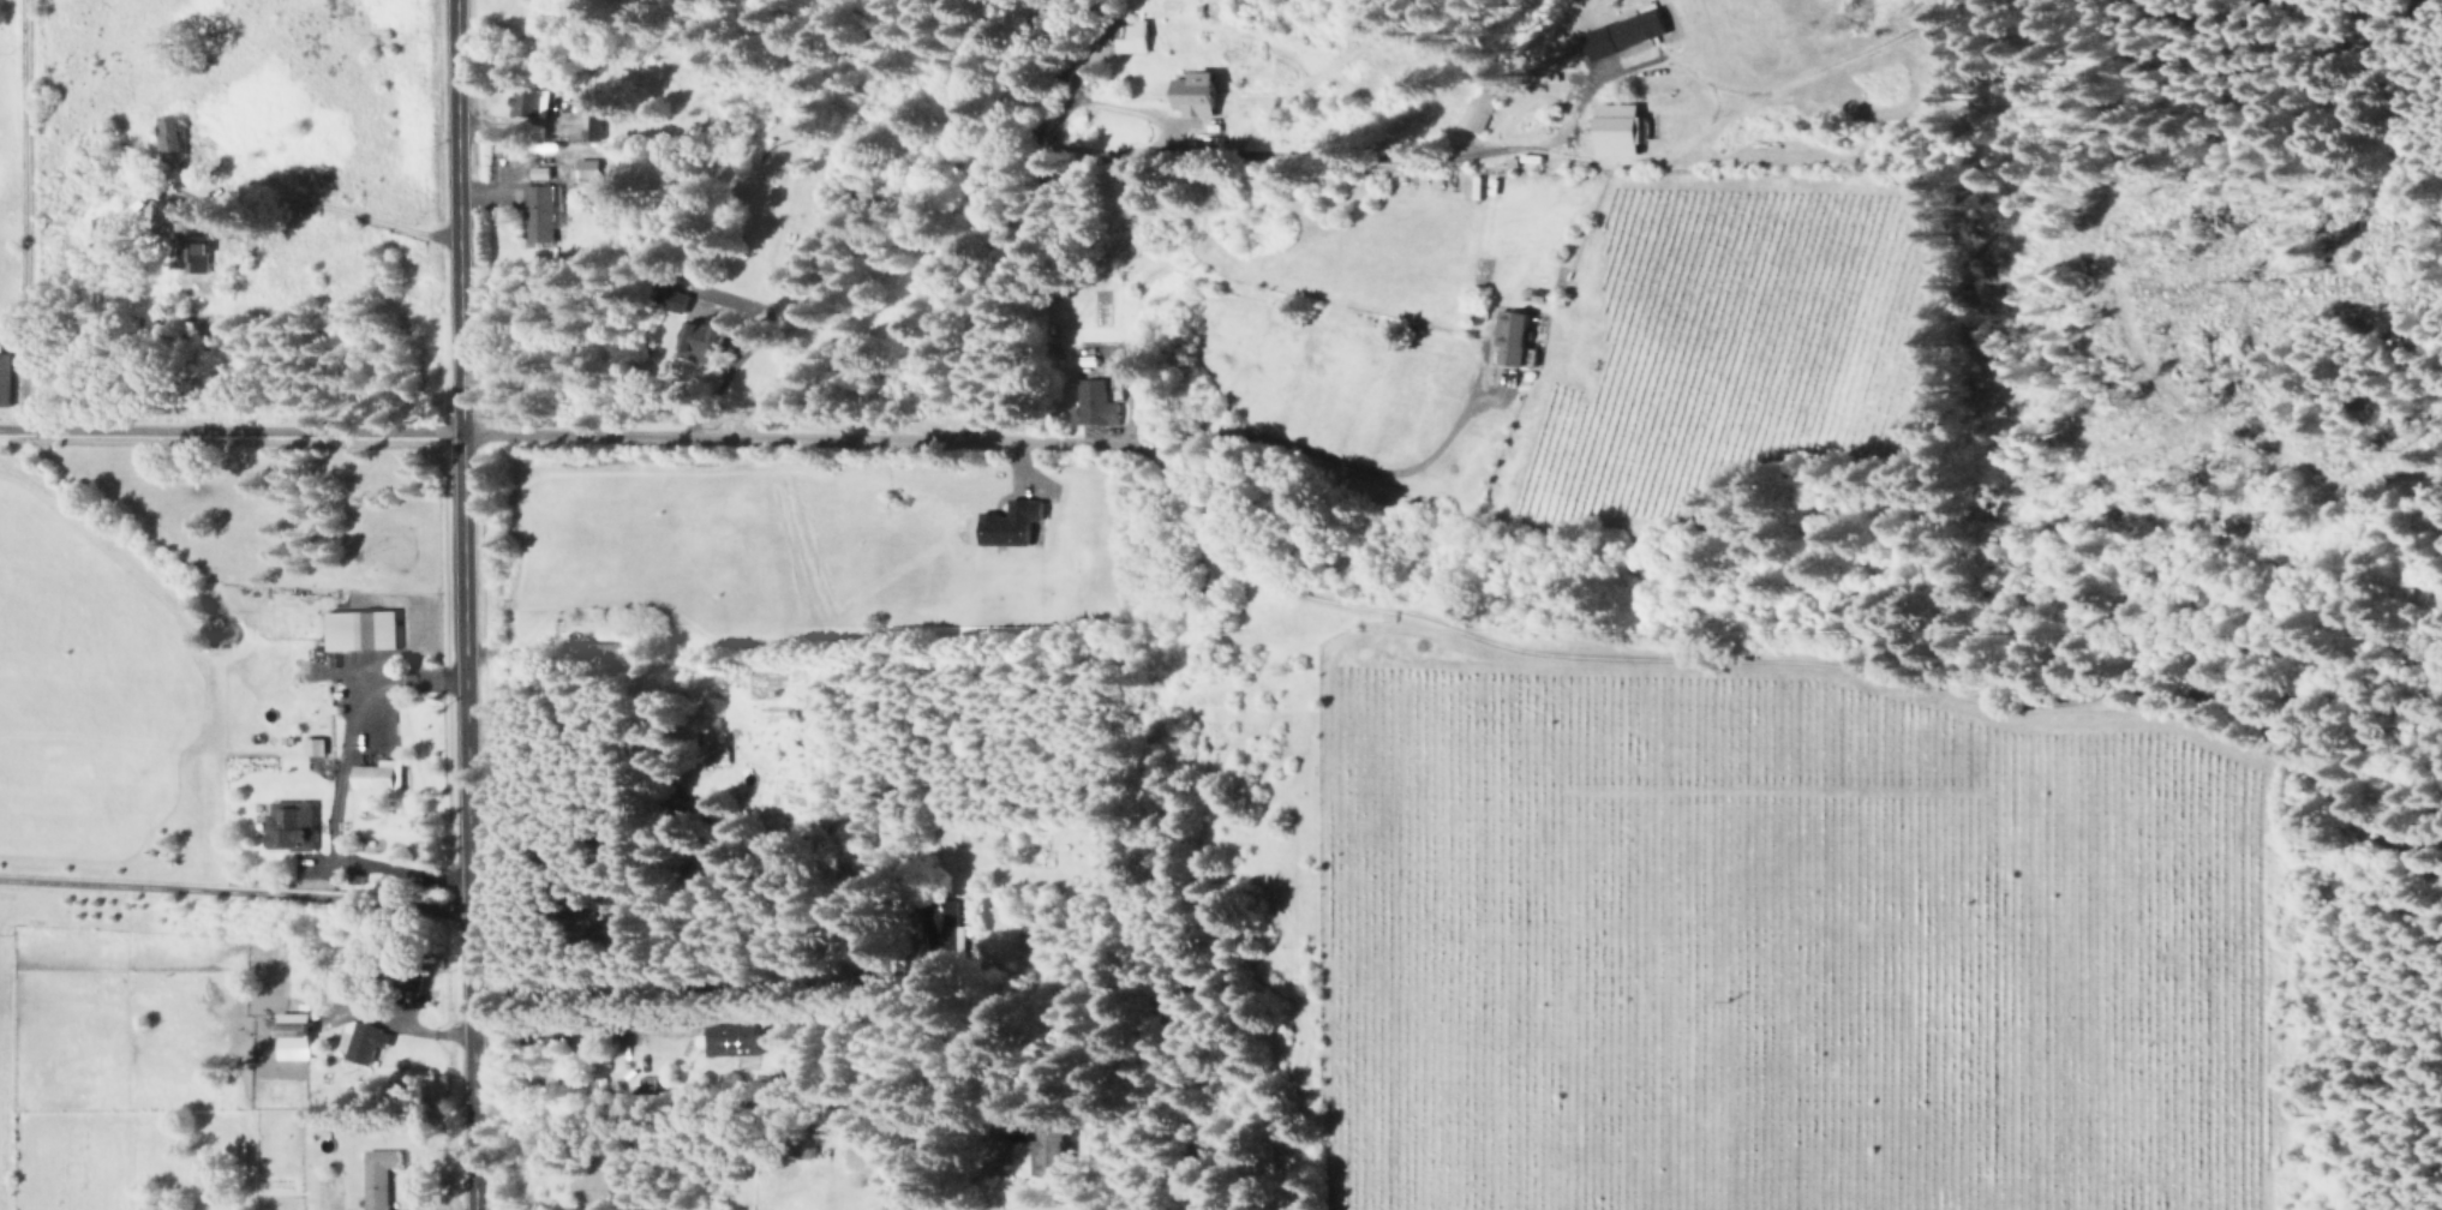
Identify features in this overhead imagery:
building: (1628, 32)
building: (1131, 37)
building: (593, 92)
building: (1198, 94)
building: (529, 102)
building: (1485, 104)
building: (594, 126)
building: (1622, 128)
building: (169, 134)
building: (588, 168)
road: (1096, 170)
road: (17, 199)
building: (538, 214)
building: (193, 247)
road: (1209, 259)
building: (1514, 336)
building: (701, 342)
building: (5, 379)
road: (220, 400)
building: (1091, 405)
road: (758, 412)
building: (1012, 523)
road: (1147, 527)
road: (444, 605)
building: (361, 629)
building: (313, 745)
building: (377, 774)
building: (291, 825)
building: (707, 863)
road: (225, 885)
building: (946, 933)
road: (690, 953)
building: (294, 1035)
building: (732, 1040)
building: (361, 1041)
road: (707, 1125)
building: (1047, 1150)
building: (377, 1176)

